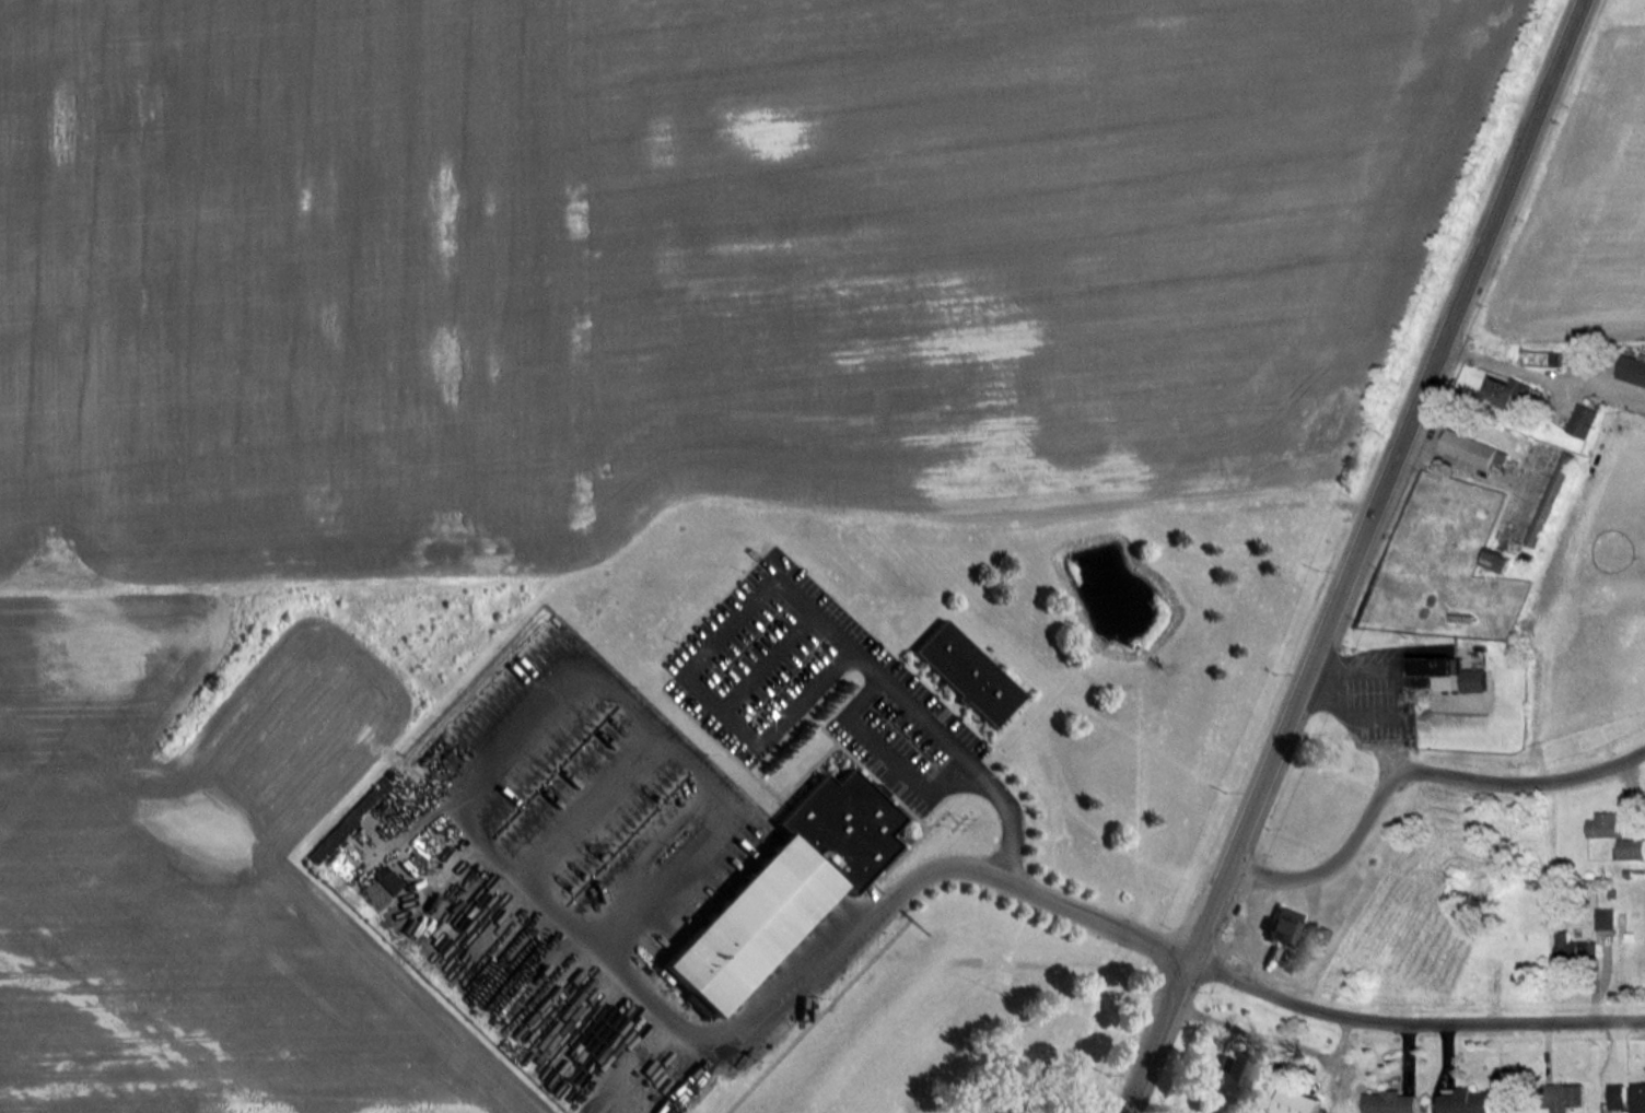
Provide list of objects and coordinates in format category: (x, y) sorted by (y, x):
road: (1506, 363)
building: (1632, 368)
building: (1506, 390)
building: (1582, 420)
building: (1468, 448)
road: (1486, 473)
road: (1536, 476)
building: (1536, 529)
road: (1354, 555)
building: (1496, 560)
road: (786, 586)
building: (966, 672)
building: (1446, 673)
parking lot: (813, 682)
road: (1352, 719)
road: (1524, 783)
building: (1605, 824)
building: (1631, 847)
road: (1335, 862)
building: (784, 886)
building: (1606, 917)
building: (1282, 925)
building: (1575, 948)
road: (805, 980)
road: (1411, 1019)
building: (1227, 1077)
building: (1615, 1096)
building: (1566, 1097)
building: (1637, 1097)
building: (1463, 1101)
building: (1295, 1102)
building: (1389, 1102)

